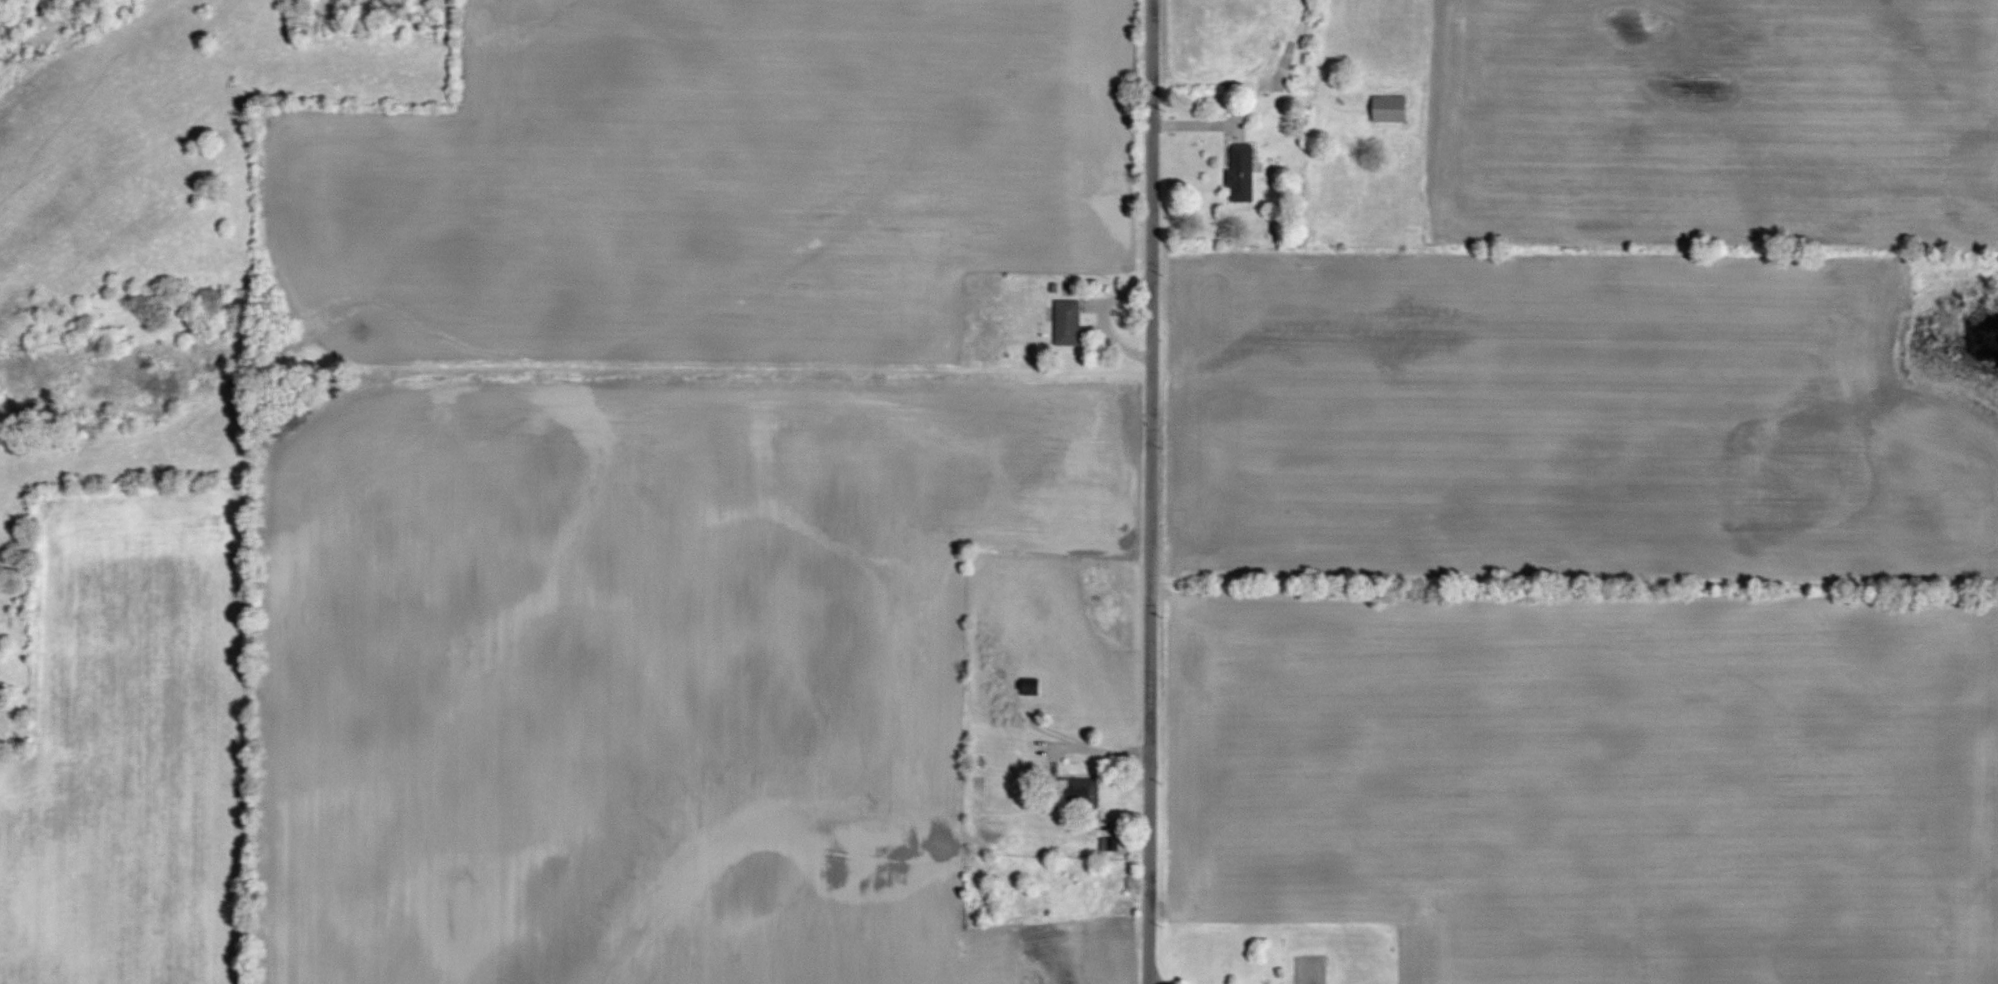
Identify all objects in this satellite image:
building: (1394, 109)
building: (1246, 173)
building: (1072, 323)
road: (1150, 492)
building: (1087, 789)

